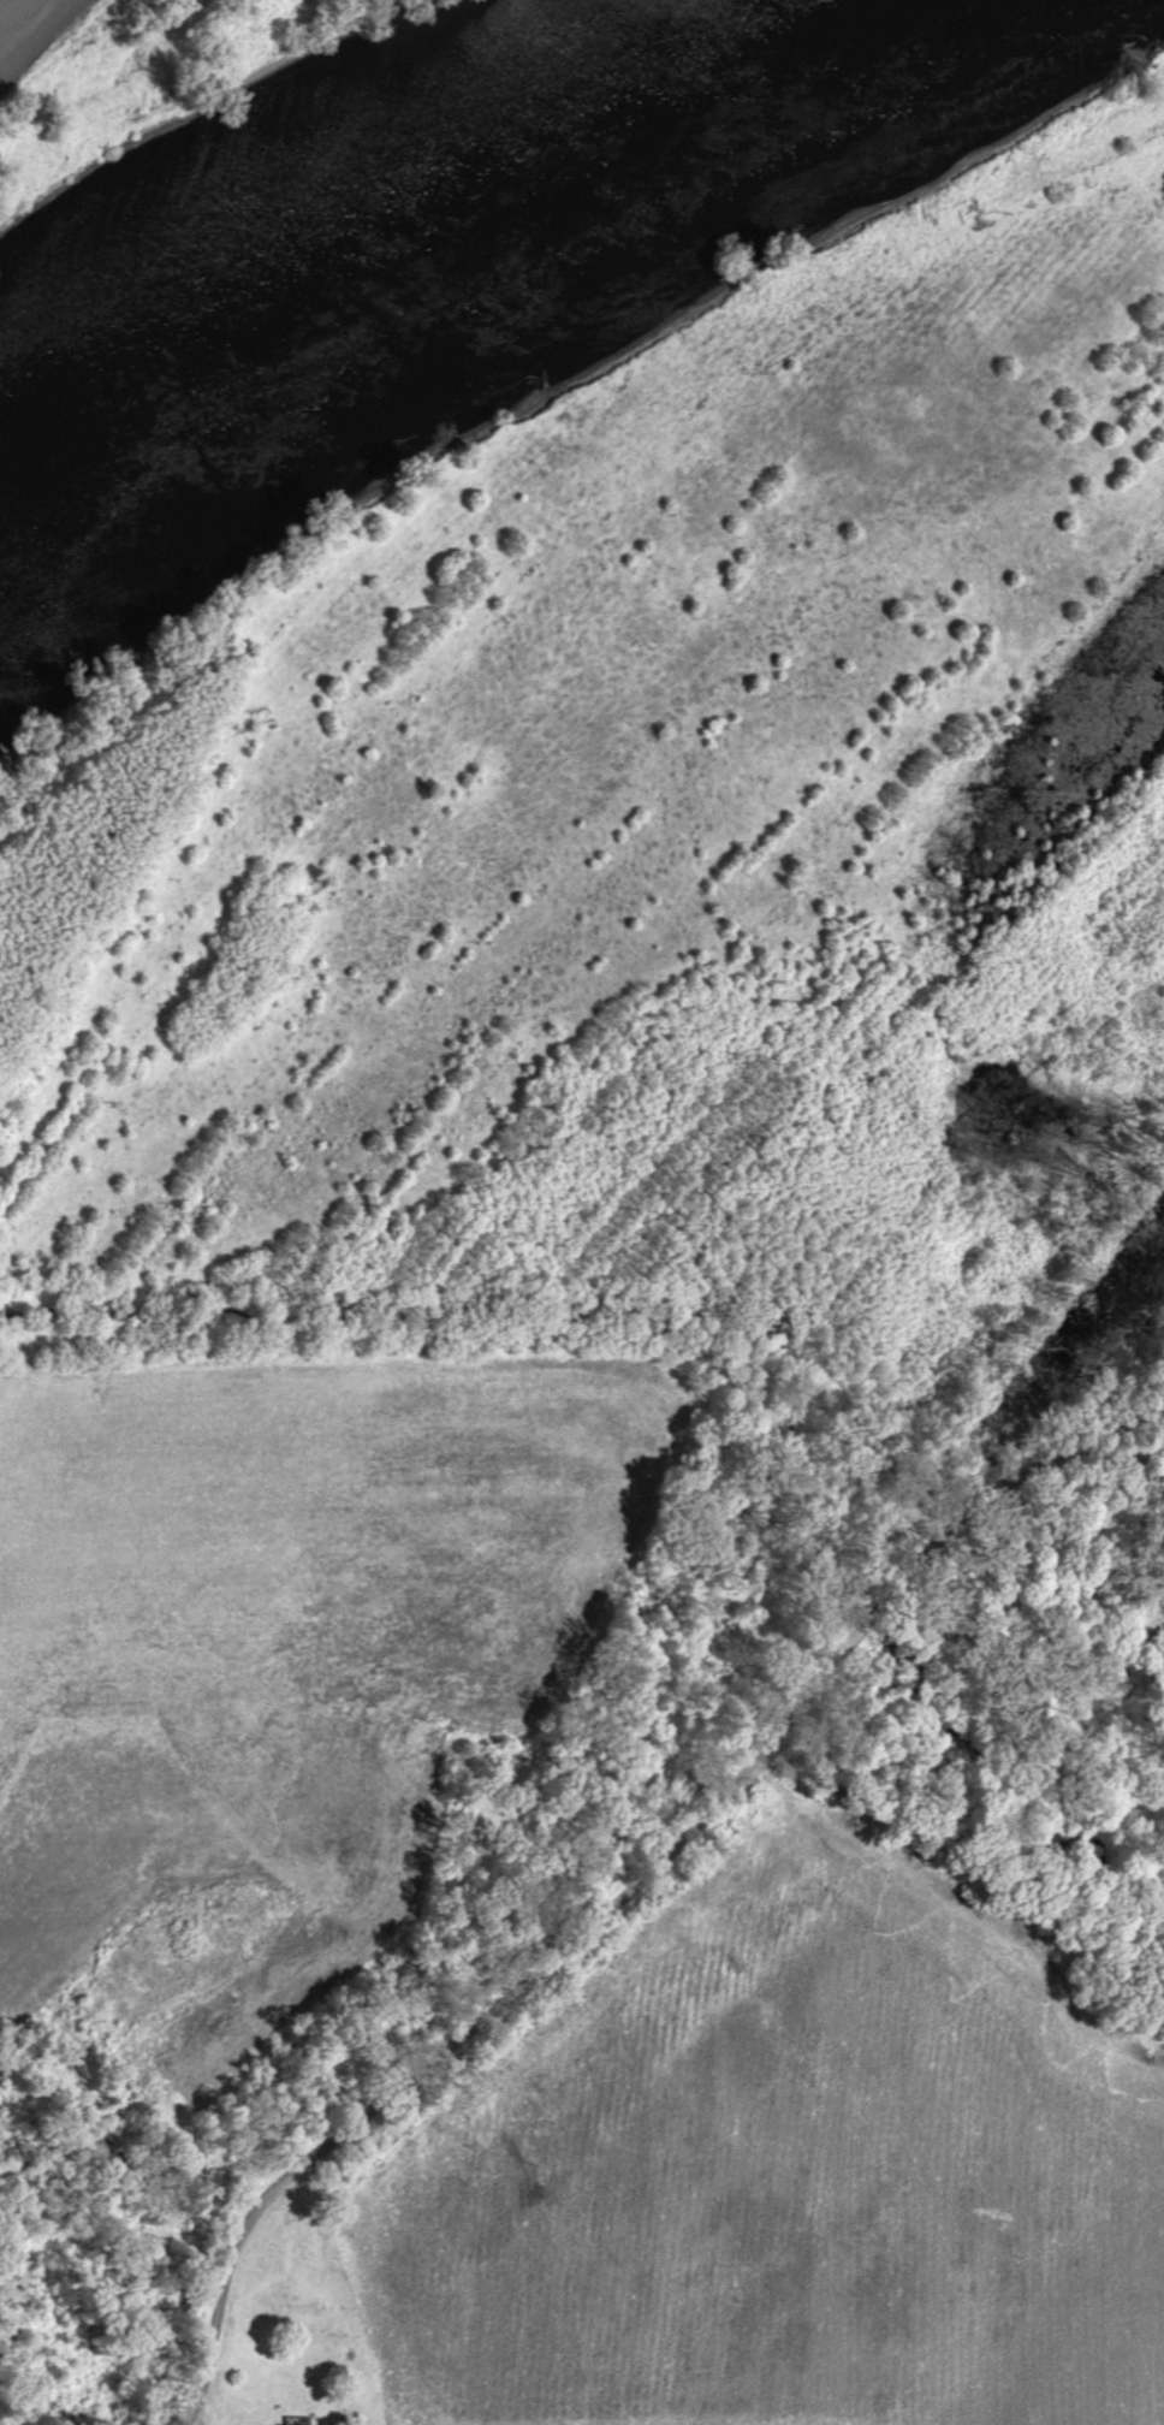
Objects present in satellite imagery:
river: (427, 196)
road: (1002, 1495)
building: (1163, 1641)
road: (495, 2003)

